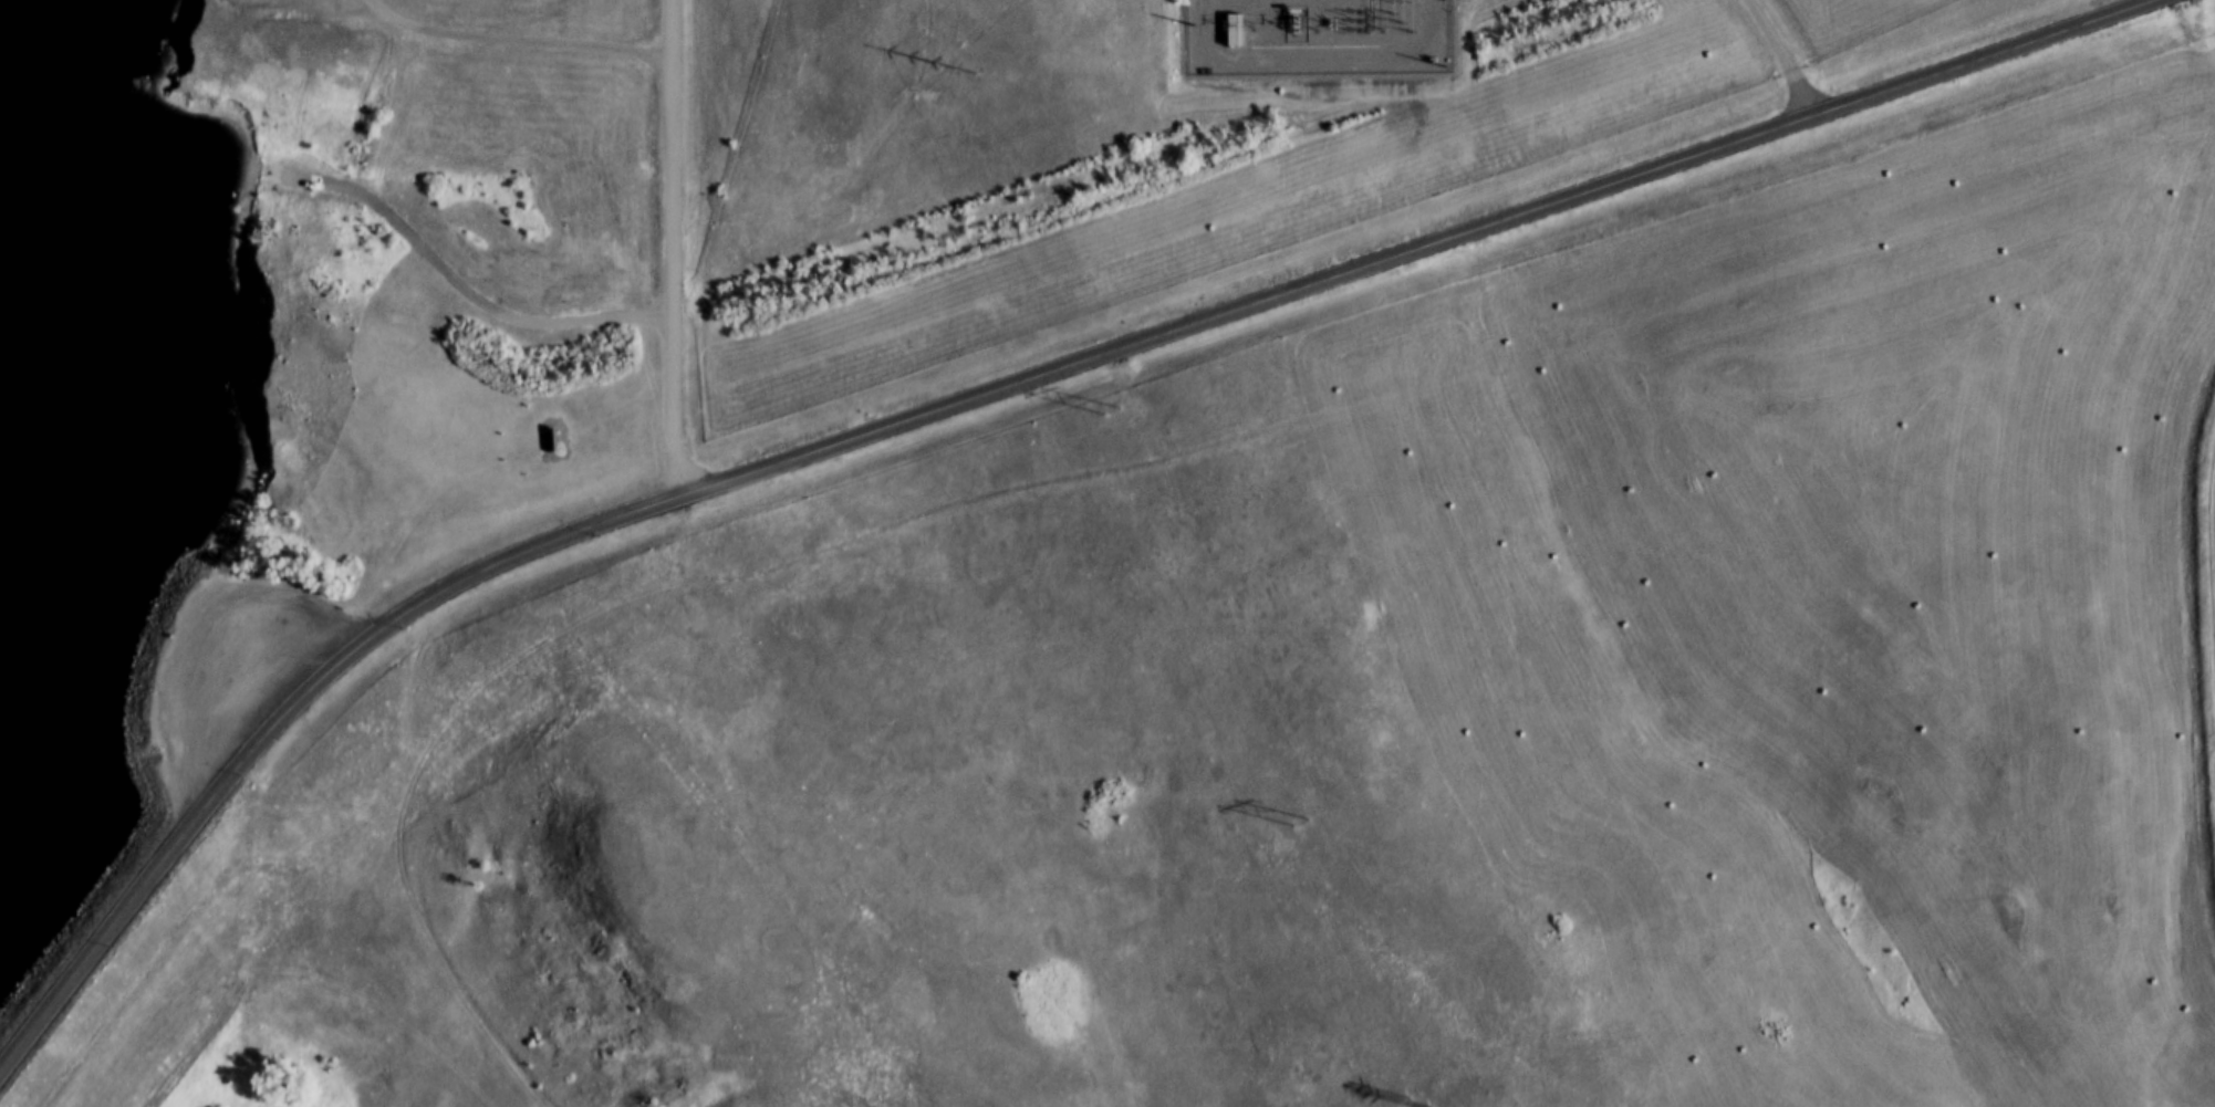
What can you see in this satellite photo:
road: (300, 23)
building: (1236, 31)
power substation: (1319, 38)
road: (512, 49)
road: (1785, 60)
power tower: (951, 70)
road: (377, 113)
road: (674, 252)
road: (476, 305)
road: (990, 399)
power tower: (1106, 419)
road: (2208, 592)
power tower: (1287, 819)

